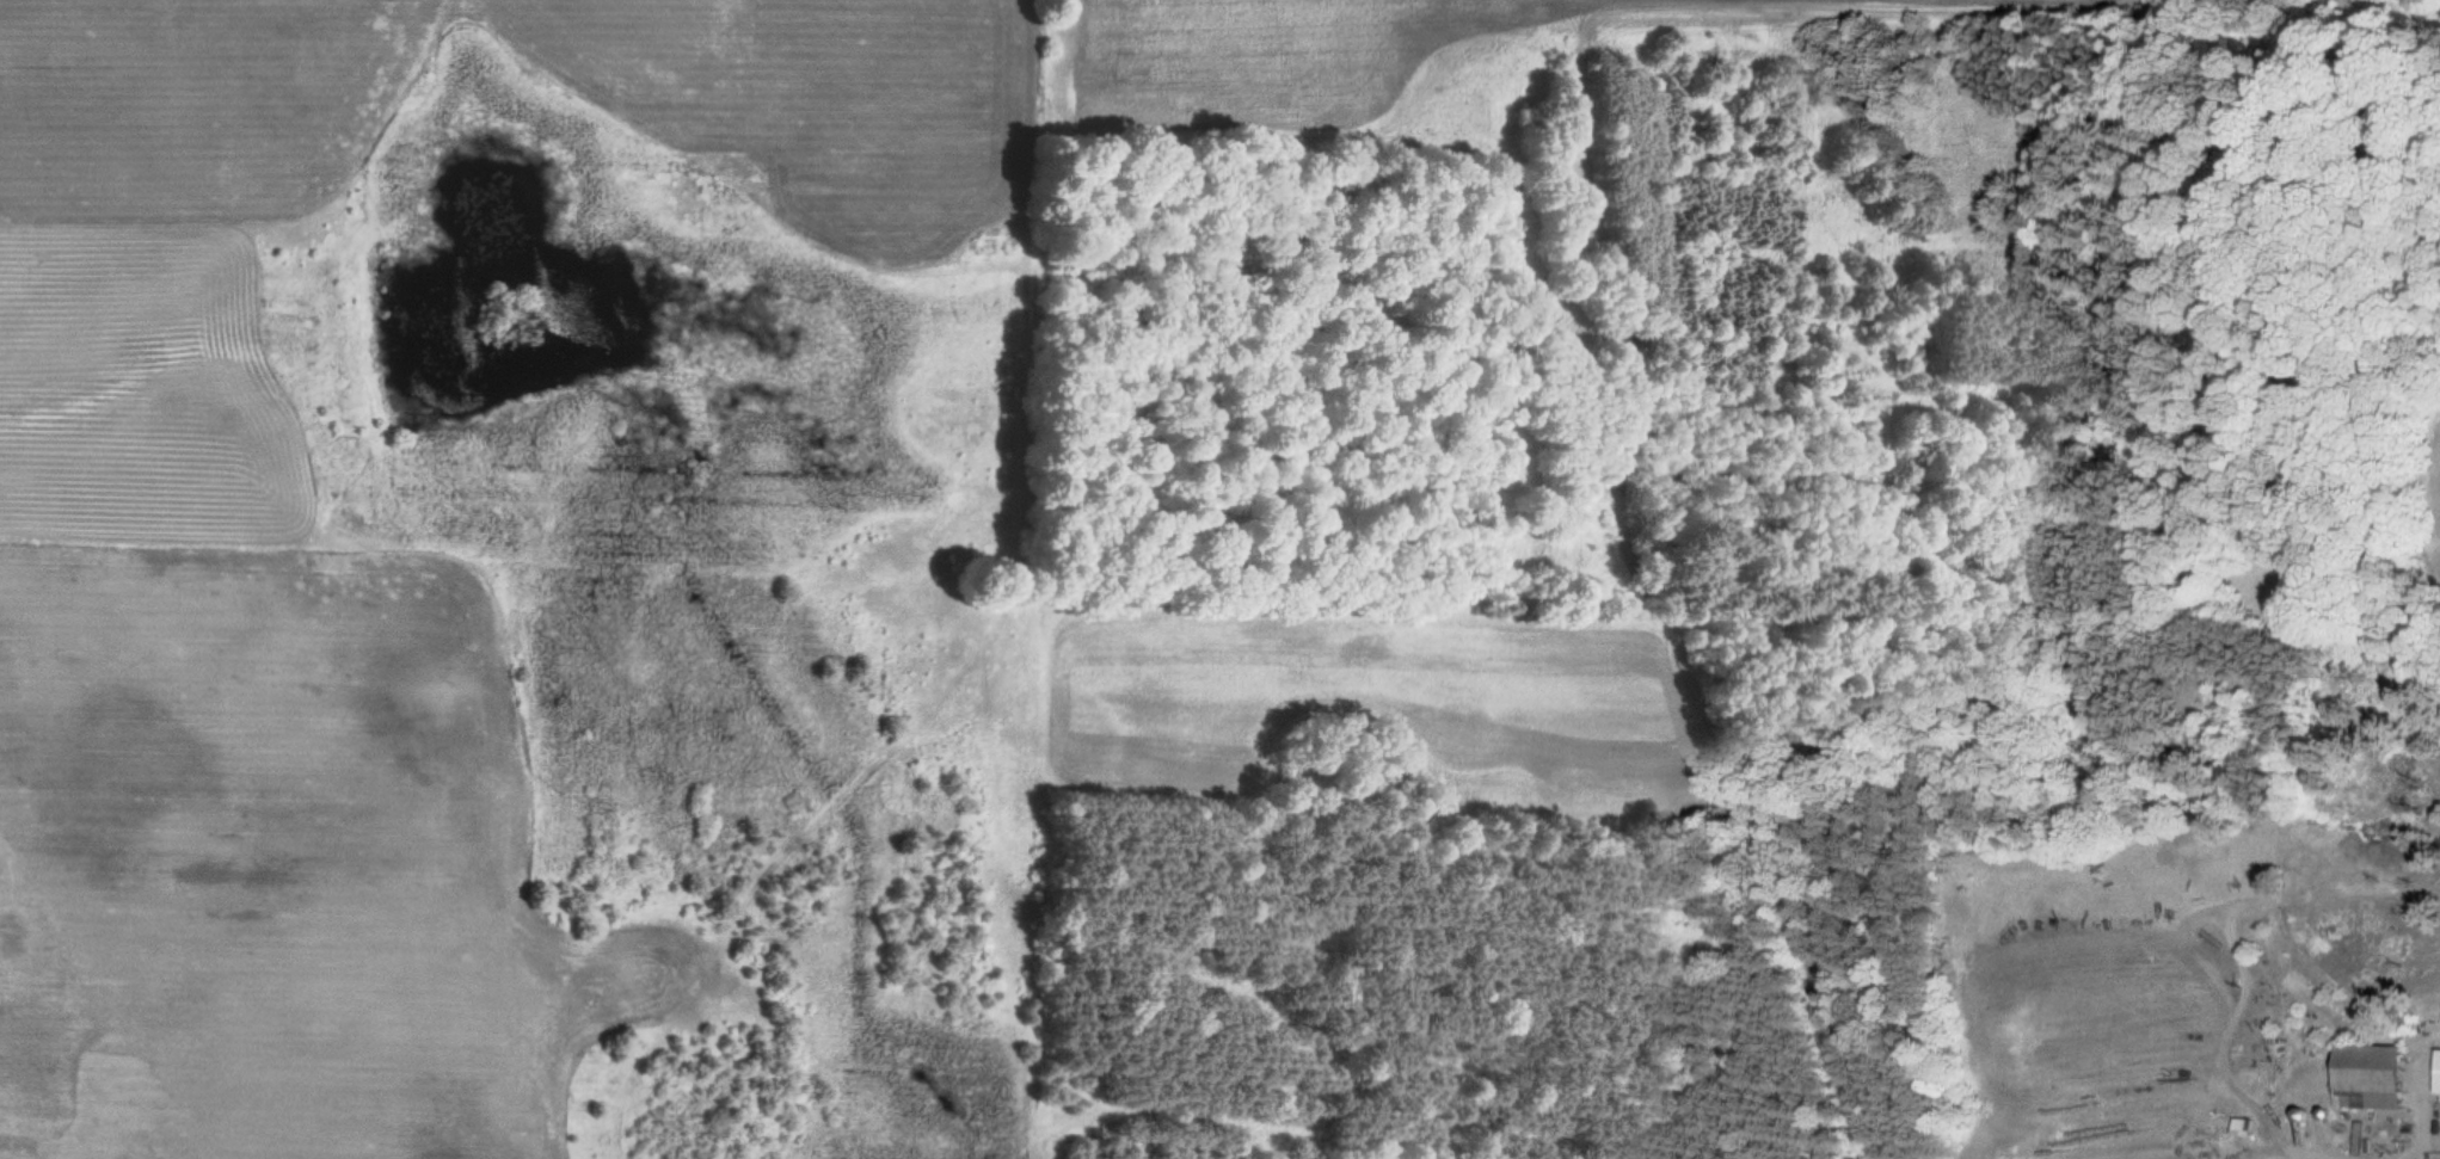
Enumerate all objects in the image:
building: (2435, 1072)
building: (2361, 1077)

